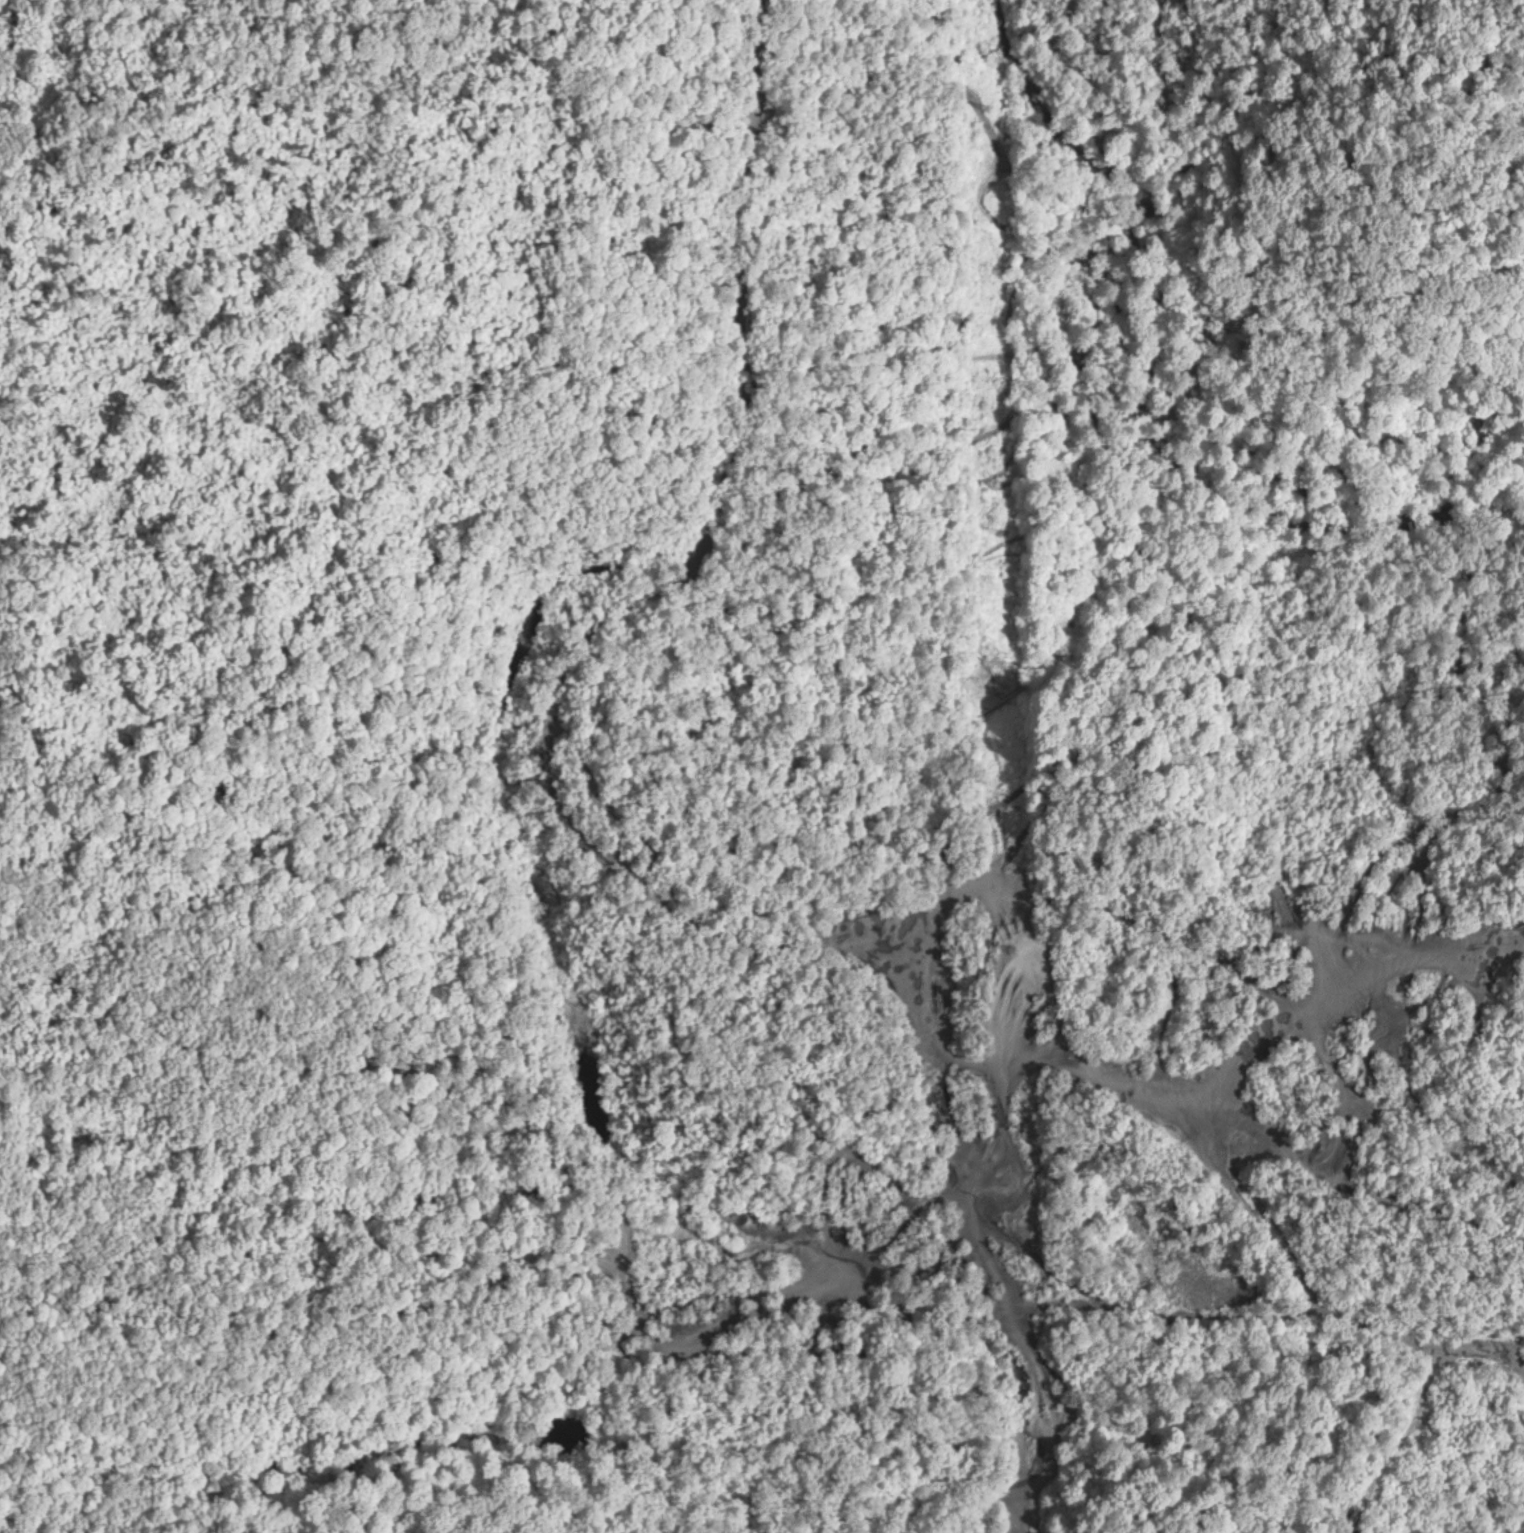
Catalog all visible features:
power tower: (990, 105)
road: (1103, 419)
power tower: (1004, 530)
road: (623, 907)
power tower: (1027, 1265)
road: (1211, 1334)
road: (1169, 1431)

